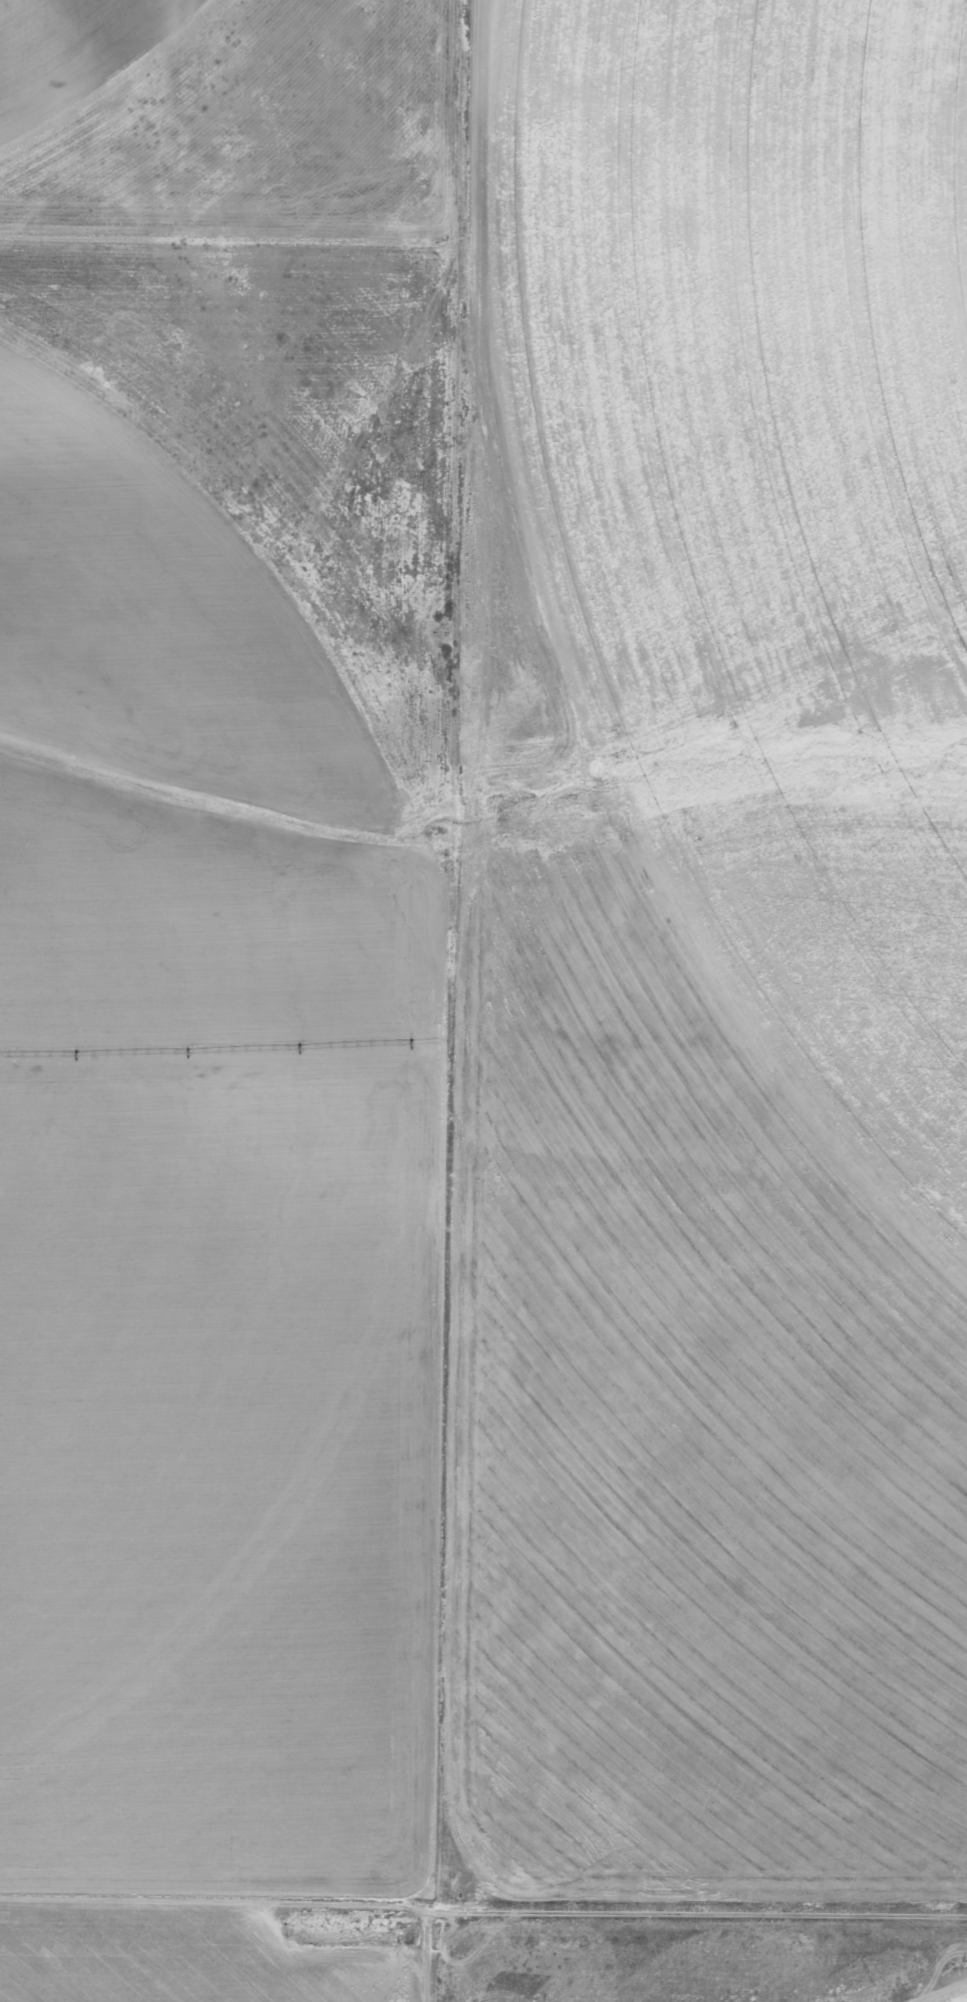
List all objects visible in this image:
crop: (216, 939)
road: (428, 1432)
crop: (188, 1962)
crop: (484, 1976)

